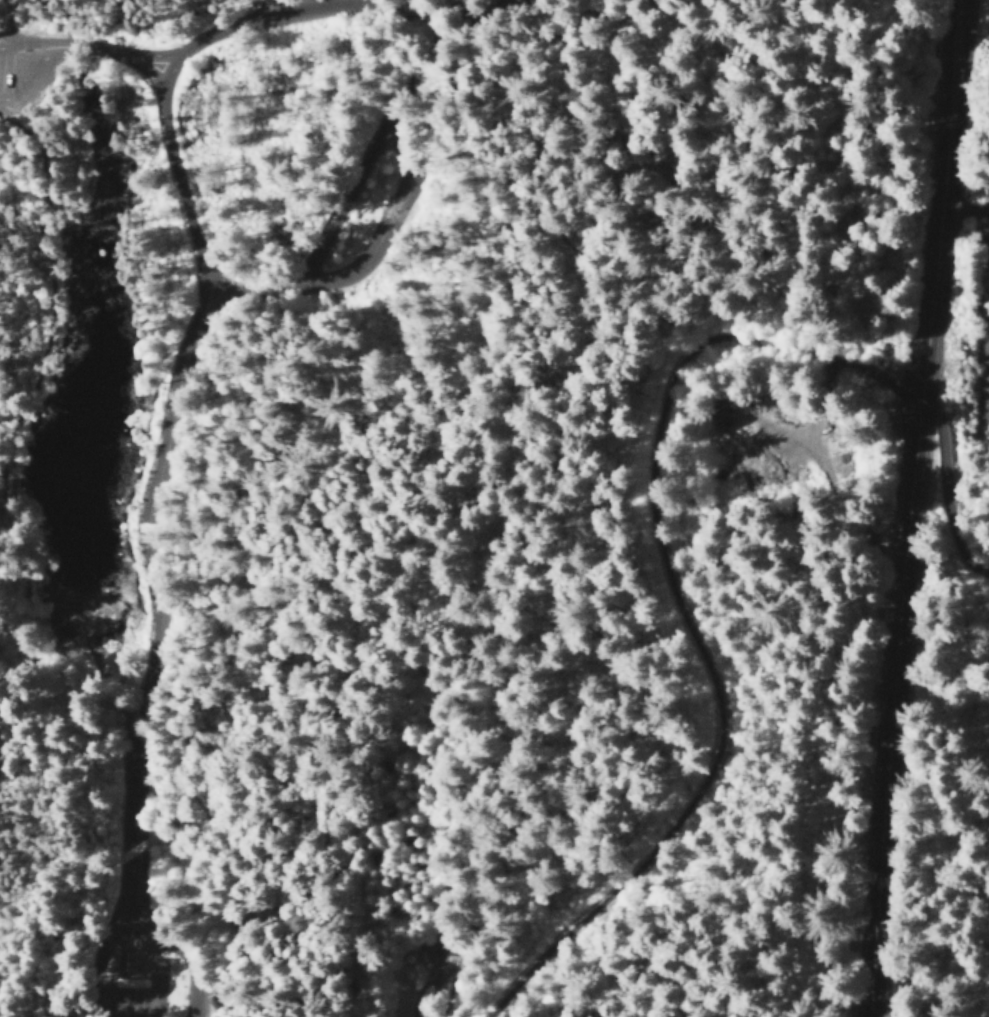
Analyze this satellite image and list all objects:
road: (61, 7)
road: (7, 13)
parking lot: (259, 13)
road: (246, 31)
road: (89, 54)
road: (26, 56)
parking lot: (15, 73)
road: (533, 164)
road: (182, 178)
road: (377, 192)
road: (440, 224)
building: (982, 289)
road: (44, 296)
building: (984, 373)
road: (899, 401)
building: (719, 414)
road: (907, 508)
road: (951, 512)
road: (677, 615)
road: (115, 649)
road: (54, 669)
road: (204, 883)
road: (206, 929)
toll booth: (145, 975)
parking lot: (189, 976)

